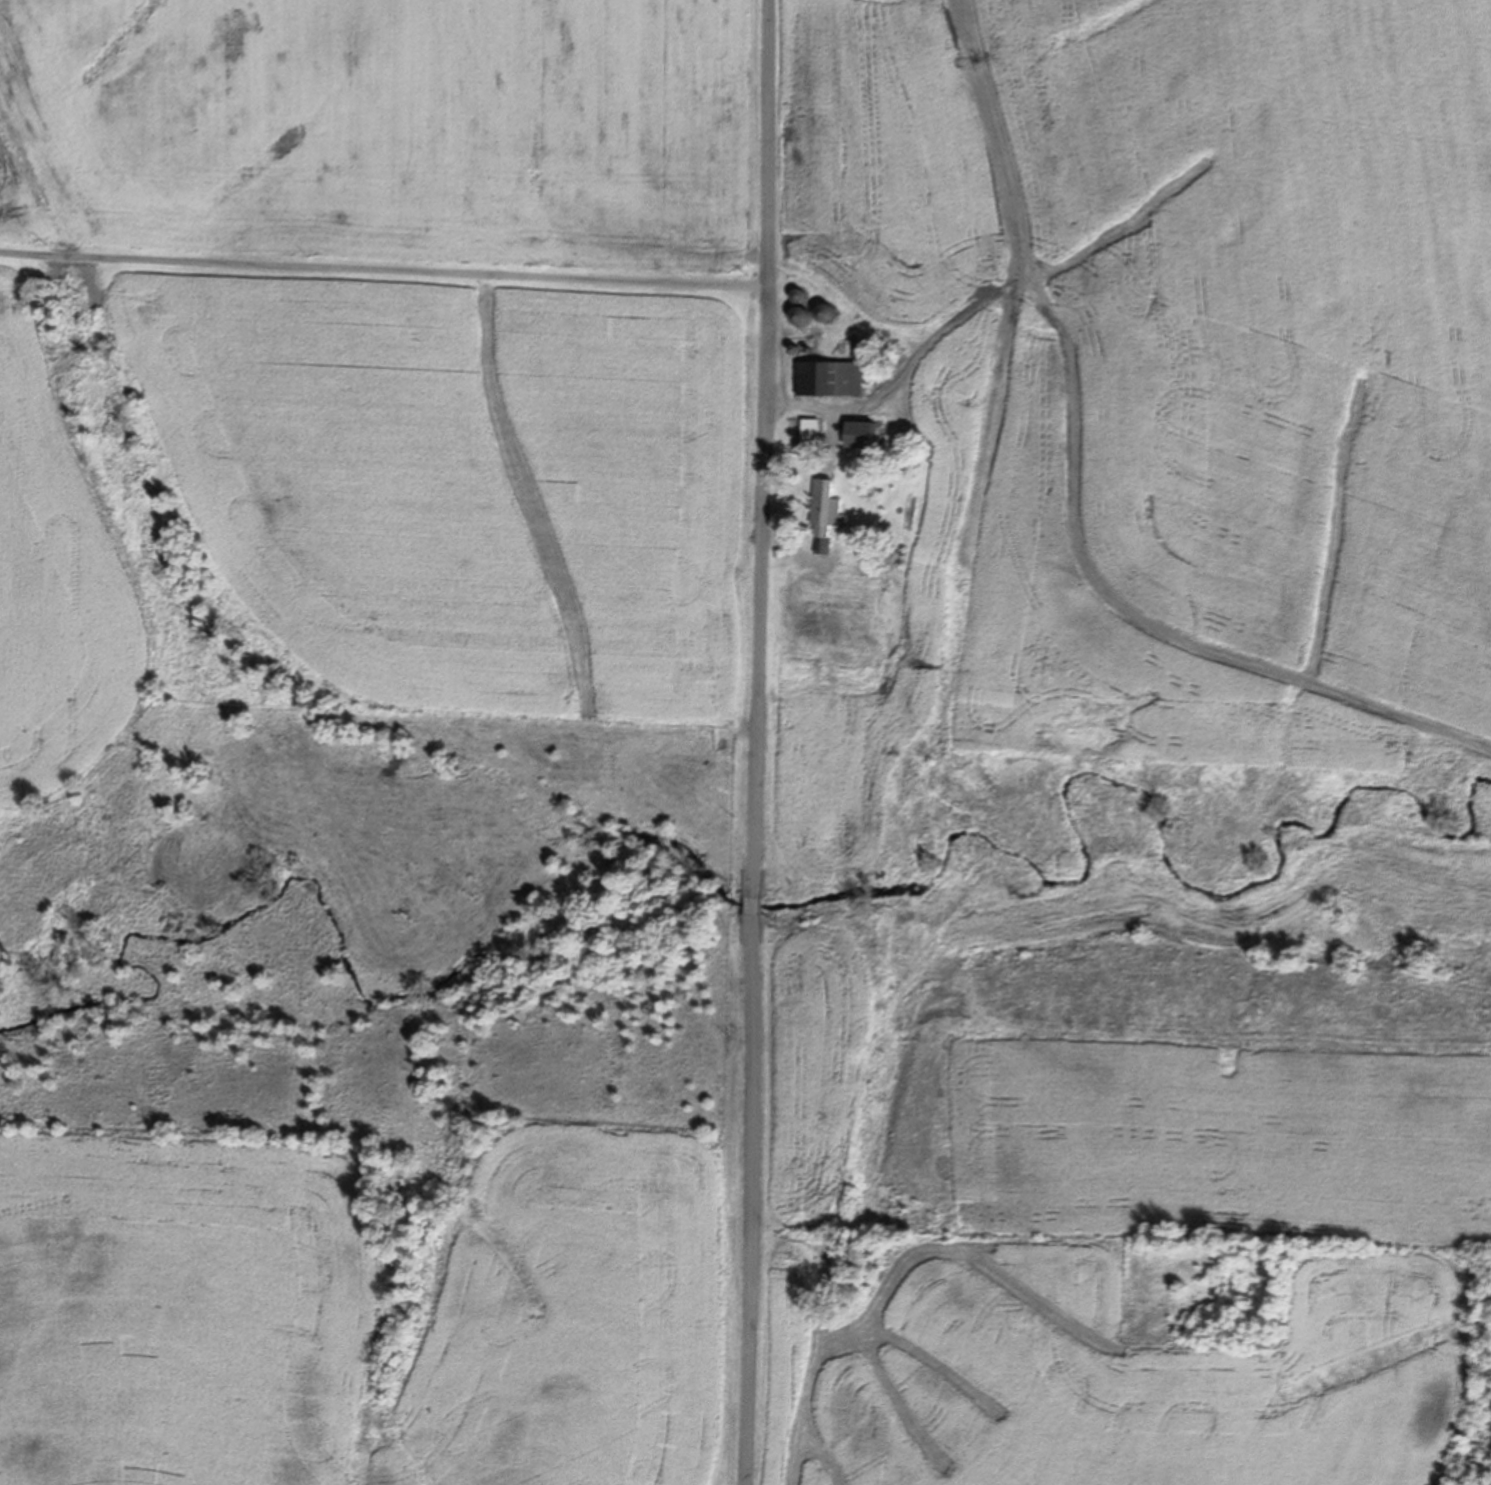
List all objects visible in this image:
road: (384, 272)
building: (834, 377)
building: (869, 434)
building: (805, 435)
building: (831, 521)
building: (833, 609)
building: (995, 646)
road: (760, 742)
park: (1202, 1295)

